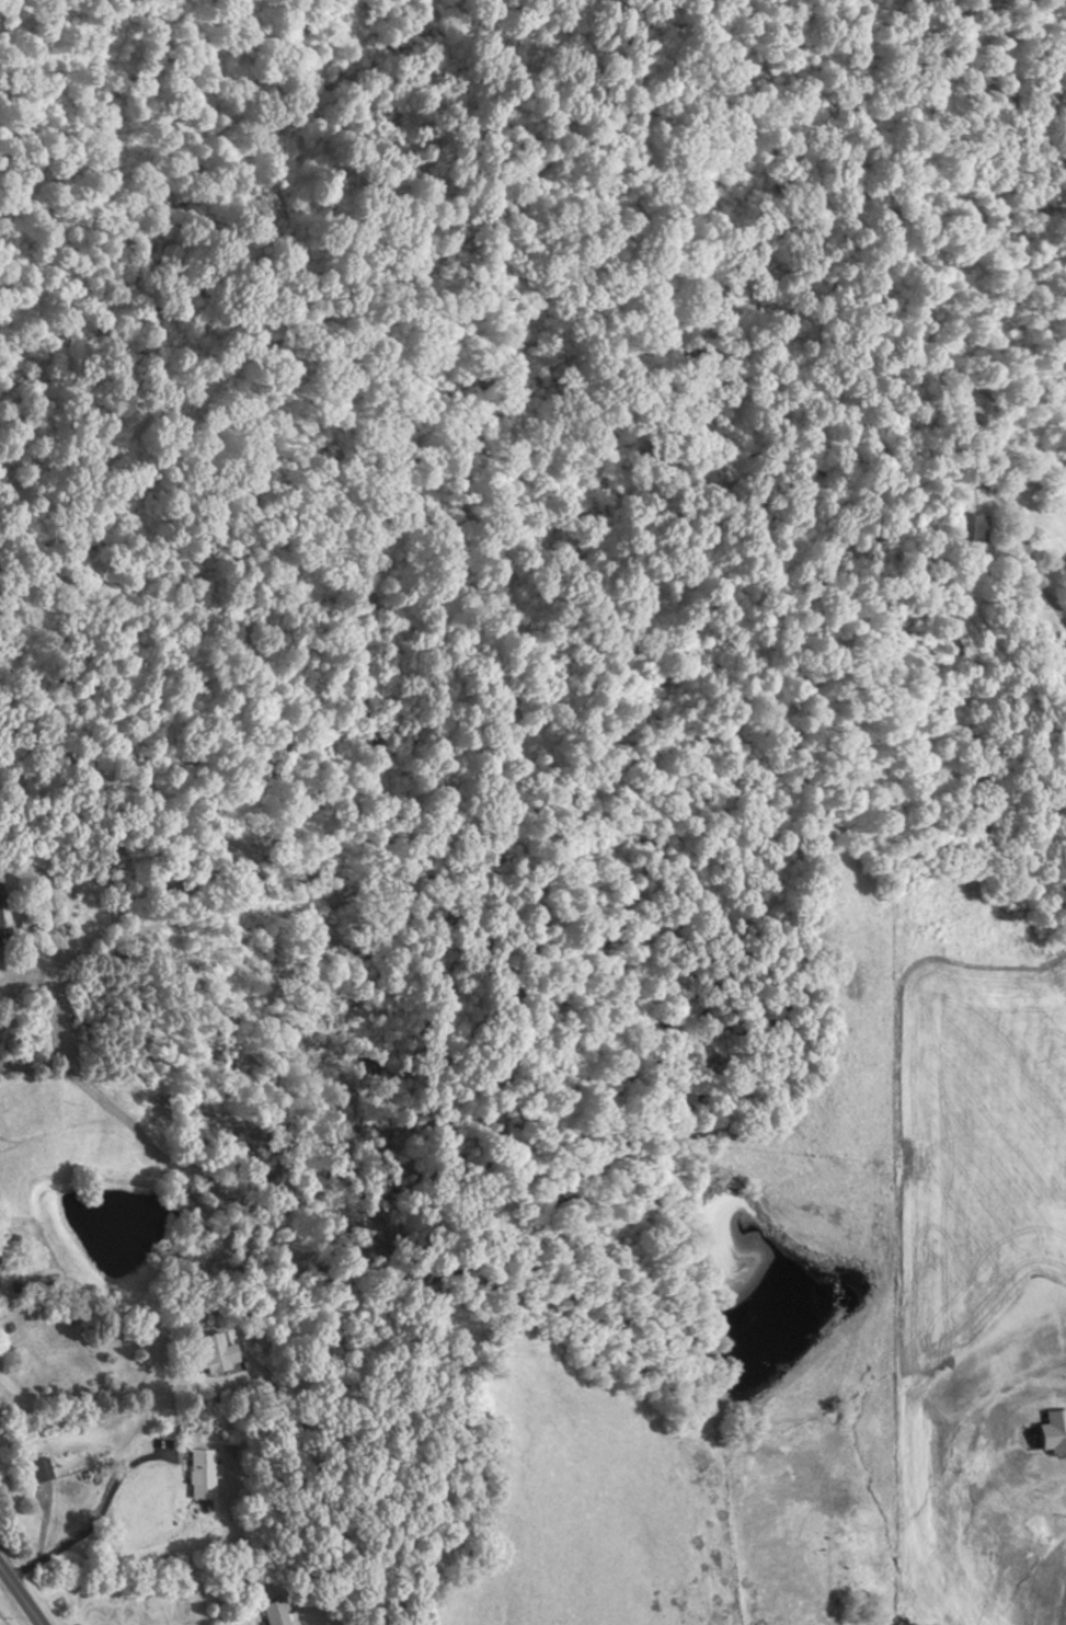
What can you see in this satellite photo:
building: (972, 527)
road: (1044, 599)
building: (219, 1352)
road: (230, 1369)
building: (43, 1468)
building: (203, 1473)
road: (20, 1595)
road: (1062, 1603)
building: (278, 1614)

